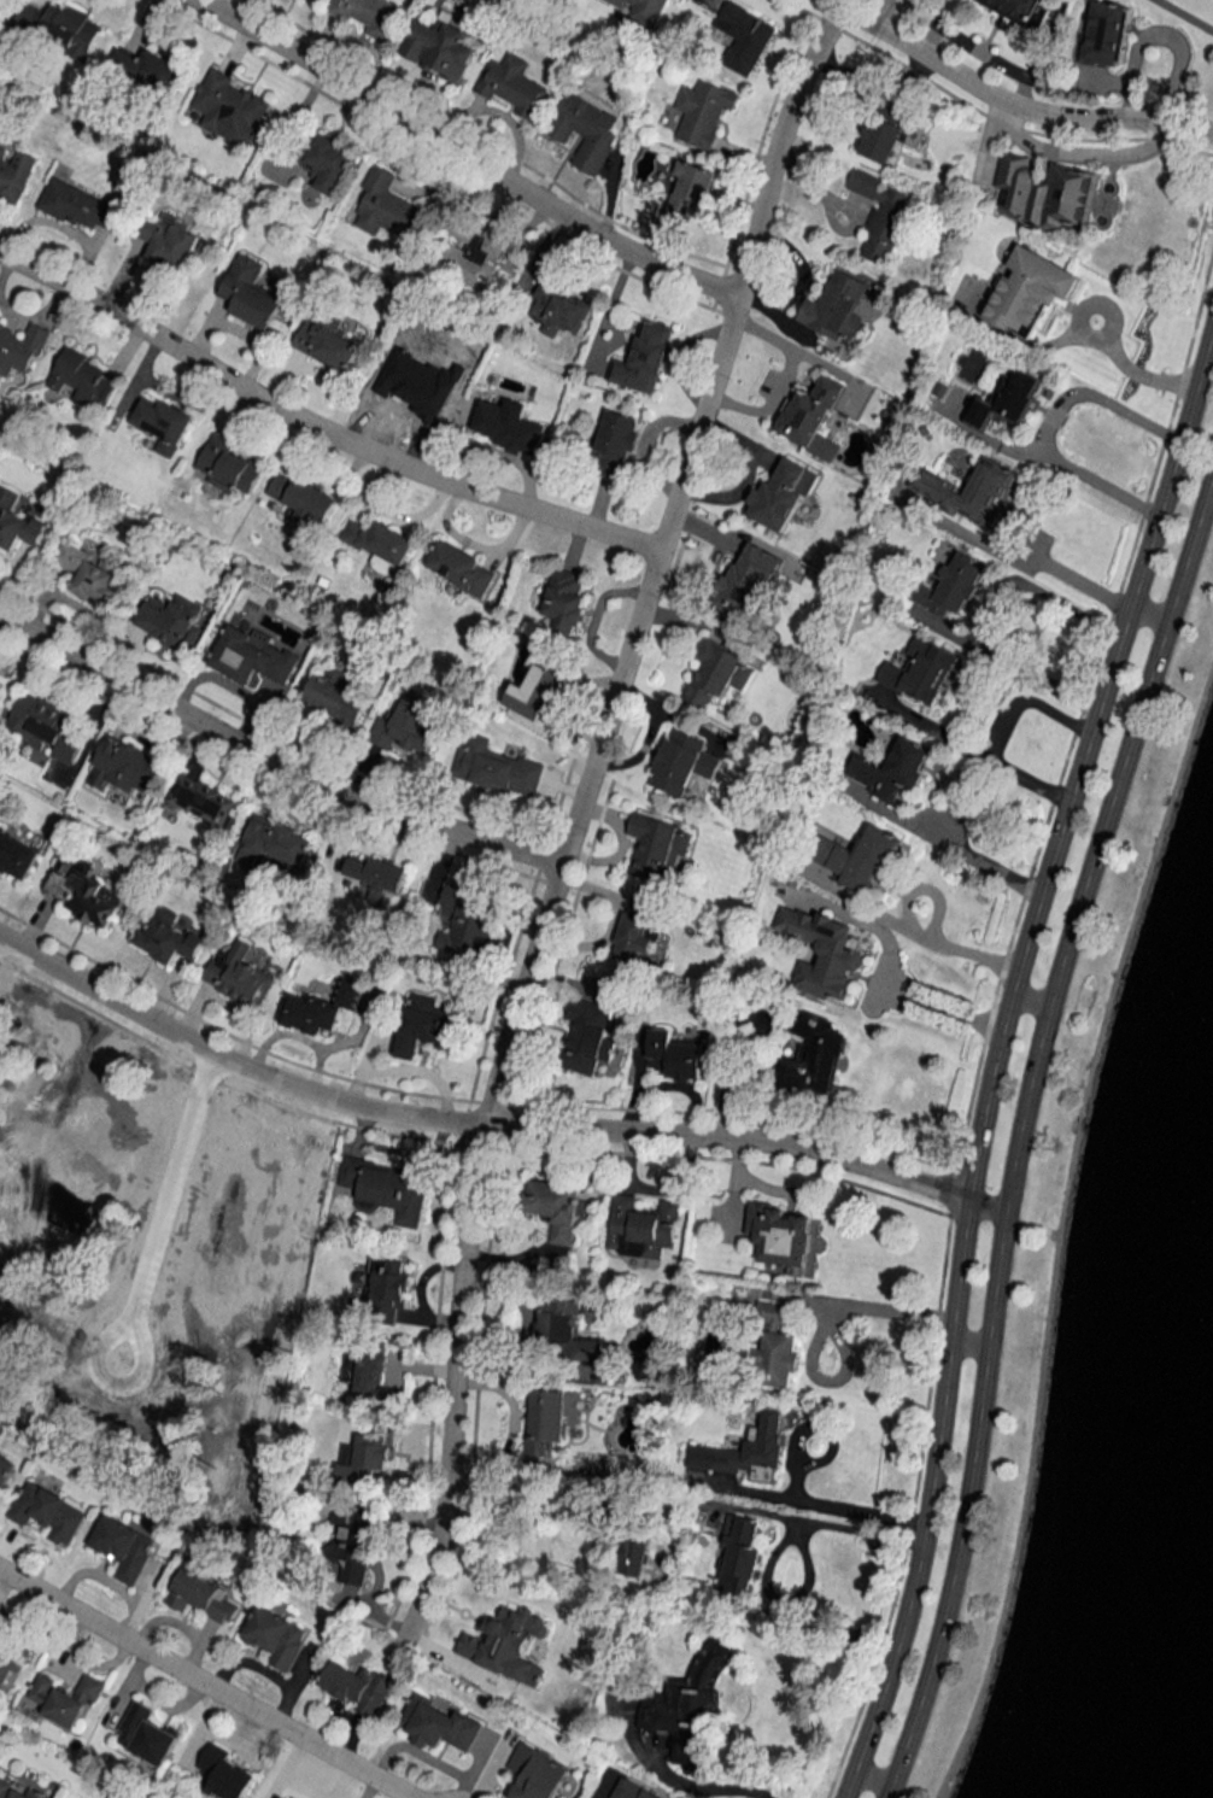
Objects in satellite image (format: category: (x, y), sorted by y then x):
building: (316, 0)
building: (1026, 8)
building: (641, 10)
building: (369, 16)
road: (1182, 17)
building: (60, 27)
building: (1107, 34)
building: (744, 36)
building: (439, 48)
building: (150, 69)
building: (512, 86)
road: (1008, 103)
building: (228, 107)
building: (703, 112)
building: (585, 130)
building: (884, 133)
road: (461, 156)
building: (329, 163)
building: (14, 172)
building: (690, 188)
building: (1042, 192)
building: (77, 205)
building: (388, 207)
building: (883, 215)
building: (169, 242)
building: (474, 252)
building: (1029, 292)
building: (250, 293)
building: (558, 306)
building: (836, 308)
building: (327, 340)
building: (20, 347)
building: (644, 358)
road: (1133, 367)
building: (83, 380)
road: (781, 381)
building: (415, 390)
building: (1008, 399)
building: (810, 411)
building: (163, 423)
road: (1051, 423)
building: (511, 427)
road: (316, 428)
building: (616, 441)
building: (229, 467)
building: (966, 491)
building: (780, 496)
building: (304, 499)
building: (17, 521)
building: (380, 544)
building: (459, 568)
building: (89, 573)
road: (1070, 578)
building: (743, 584)
building: (953, 586)
building: (564, 598)
road: (1147, 613)
road: (990, 620)
building: (171, 621)
building: (251, 656)
building: (920, 670)
building: (716, 672)
building: (535, 690)
building: (334, 698)
building: (46, 725)
building: (406, 725)
road: (997, 734)
road: (270, 761)
building: (681, 762)
building: (124, 766)
building: (496, 768)
building: (892, 768)
building: (203, 801)
road: (575, 810)
building: (274, 844)
building: (657, 845)
road: (966, 854)
building: (17, 855)
building: (857, 857)
building: (375, 873)
building: (82, 891)
building: (464, 919)
road: (913, 930)
building: (635, 936)
building: (166, 938)
building: (822, 951)
road: (889, 967)
building: (238, 976)
road: (1029, 1000)
building: (321, 1008)
building: (766, 1018)
building: (426, 1025)
building: (586, 1037)
road: (996, 1049)
building: (675, 1055)
building: (813, 1055)
road: (486, 1126)
road: (1020, 1128)
building: (387, 1188)
road: (169, 1193)
building: (58, 1194)
building: (557, 1207)
building: (641, 1228)
building: (780, 1236)
building: (388, 1290)
road: (865, 1306)
building: (566, 1333)
road: (967, 1342)
building: (775, 1347)
building: (365, 1365)
road: (112, 1382)
building: (546, 1421)
building: (746, 1451)
building: (367, 1453)
building: (6, 1468)
road: (545, 1494)
road: (857, 1509)
building: (47, 1511)
road: (856, 1531)
building: (124, 1547)
building: (347, 1548)
building: (634, 1556)
building: (740, 1558)
building: (203, 1597)
building: (0, 1622)
building: (505, 1632)
building: (276, 1636)
building: (6, 1662)
road: (204, 1683)
building: (357, 1687)
building: (41, 1688)
building: (74, 1702)
building: (688, 1703)
building: (438, 1724)
building: (146, 1734)
building: (223, 1773)
building: (538, 1773)
road: (668, 1776)
road: (871, 1776)
building: (4, 1787)
building: (27, 1794)

